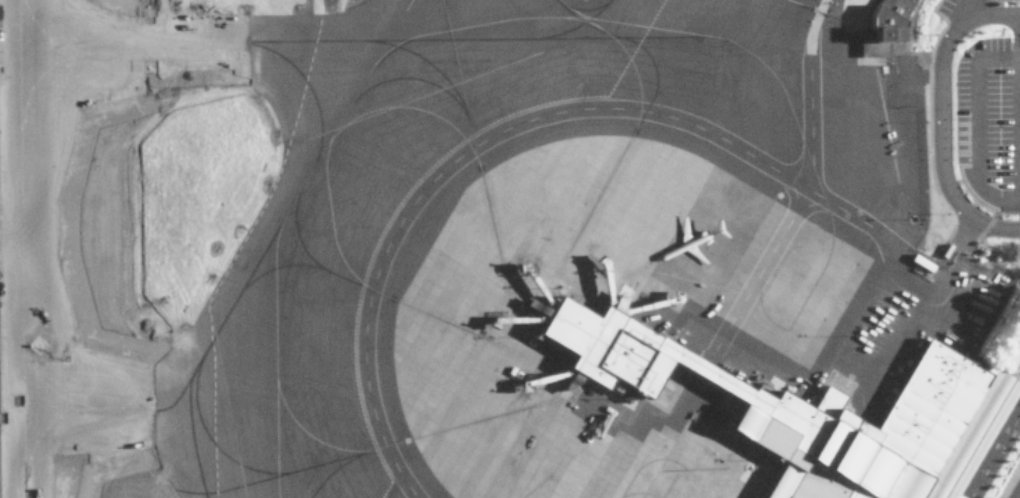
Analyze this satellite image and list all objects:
airport apron: (753, 8)
airport taxiway: (583, 12)
road: (963, 15)
building: (885, 27)
airport taxiway: (314, 41)
airport taxiway: (400, 47)
airport taxiway: (384, 56)
airport taxiway: (446, 78)
airport taxiway: (426, 81)
airport taxiway: (311, 89)
airport taxiway: (360, 96)
airport taxiway: (786, 110)
airport taxiway: (645, 111)
road: (1019, 112)
road: (562, 113)
road: (939, 121)
parking lot: (988, 125)
road: (976, 130)
airport taxiway: (470, 134)
airport taxiway: (294, 216)
airport taxiway: (267, 240)
airport taxiway: (21, 248)
airport taxiway: (48, 249)
airport: (510, 249)
airport taxiway: (282, 265)
airport taxiway: (388, 295)
airport apron: (737, 320)
airport taxiway: (47, 356)
airport taxiway: (182, 393)
airport taxiway: (114, 410)
airport terminal: (812, 411)
building: (812, 411)
airport taxiway: (83, 424)
airport taxiway: (414, 440)
airport taxiway: (218, 444)
road: (993, 452)
crop: (75, 480)
airport taxiway: (255, 483)
airport taxiway: (535, 485)

